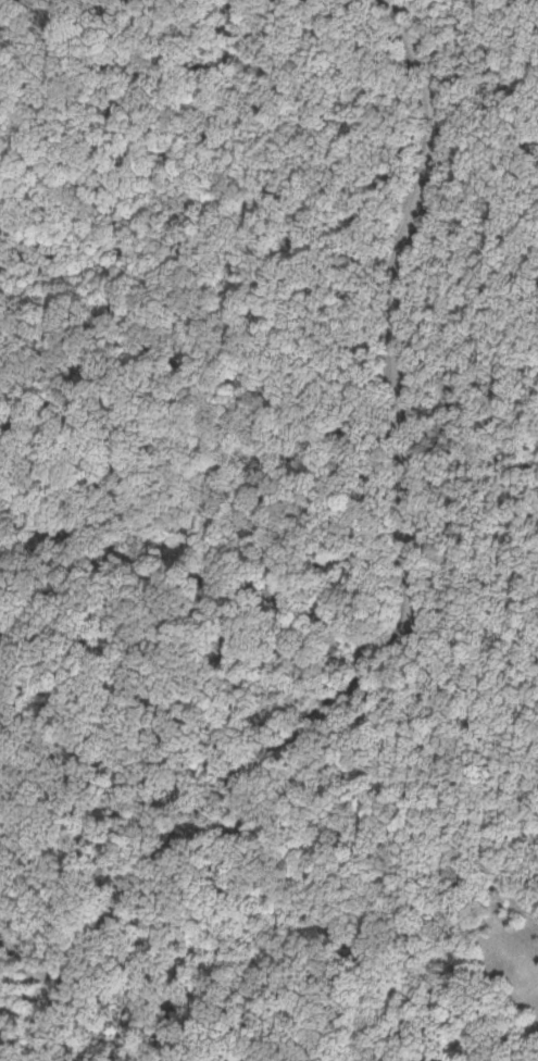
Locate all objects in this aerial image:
road: (406, 597)

